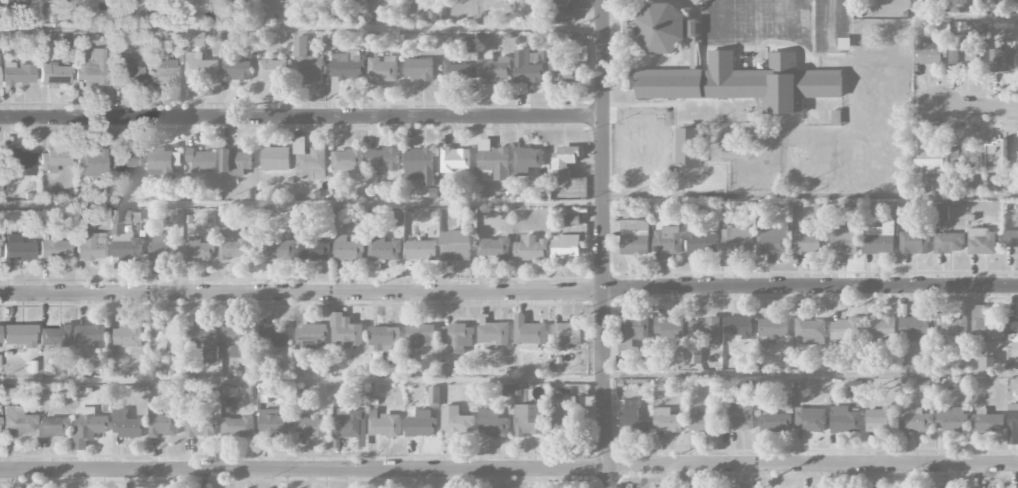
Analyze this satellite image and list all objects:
building: (378, 0)
building: (16, 2)
building: (567, 2)
building: (566, 14)
road: (720, 17)
road: (758, 17)
road: (831, 24)
road: (301, 26)
building: (660, 28)
building: (195, 39)
building: (574, 39)
building: (467, 43)
building: (960, 48)
building: (928, 52)
building: (1002, 60)
building: (307, 65)
building: (346, 66)
building: (91, 67)
building: (198, 69)
building: (418, 69)
building: (455, 69)
building: (235, 70)
building: (382, 70)
building: (494, 70)
building: (272, 71)
building: (127, 72)
building: (163, 72)
building: (566, 72)
building: (525, 73)
building: (18, 74)
building: (55, 74)
building: (743, 83)
road: (977, 108)
road: (302, 117)
building: (688, 146)
building: (1002, 153)
building: (966, 157)
building: (127, 158)
building: (384, 158)
building: (53, 159)
building: (275, 159)
building: (455, 159)
building: (202, 160)
building: (310, 160)
building: (347, 160)
building: (527, 160)
building: (564, 160)
building: (236, 162)
building: (493, 162)
building: (930, 163)
building: (91, 164)
building: (419, 165)
building: (993, 182)
road: (810, 195)
road: (301, 203)
building: (939, 212)
building: (571, 220)
building: (125, 237)
building: (634, 237)
building: (773, 239)
building: (879, 239)
building: (1010, 239)
building: (666, 240)
building: (701, 240)
building: (738, 240)
building: (843, 241)
building: (981, 241)
building: (914, 243)
building: (949, 243)
road: (603, 244)
building: (807, 244)
building: (91, 246)
building: (456, 246)
building: (565, 246)
building: (161, 247)
building: (54, 248)
building: (383, 248)
building: (494, 248)
building: (198, 249)
building: (233, 249)
building: (313, 249)
building: (348, 249)
building: (531, 249)
building: (278, 250)
building: (421, 250)
building: (18, 251)
road: (509, 292)
building: (984, 326)
building: (738, 327)
building: (774, 327)
building: (951, 327)
building: (672, 328)
building: (707, 329)
building: (915, 329)
building: (1013, 329)
building: (635, 330)
building: (846, 330)
building: (882, 330)
building: (345, 332)
building: (809, 332)
building: (528, 333)
building: (310, 334)
building: (494, 334)
building: (19, 335)
building: (55, 335)
building: (275, 335)
building: (565, 335)
building: (420, 336)
building: (90, 337)
building: (127, 337)
building: (385, 337)
building: (458, 337)
building: (163, 338)
building: (204, 340)
building: (235, 340)
building: (695, 356)
building: (987, 363)
road: (811, 375)
road: (301, 379)
building: (233, 391)
building: (563, 414)
building: (738, 415)
building: (633, 418)
building: (880, 419)
building: (951, 419)
building: (528, 420)
building: (667, 420)
building: (810, 420)
building: (844, 420)
building: (774, 421)
building: (916, 421)
building: (987, 421)
building: (17, 422)
building: (702, 422)
building: (274, 423)
building: (346, 423)
building: (456, 423)
building: (383, 424)
building: (492, 424)
building: (1012, 424)
building: (126, 425)
building: (164, 425)
building: (420, 425)
building: (311, 426)
building: (55, 427)
building: (88, 427)
building: (200, 427)
building: (238, 427)
road: (509, 469)
building: (95, 487)

